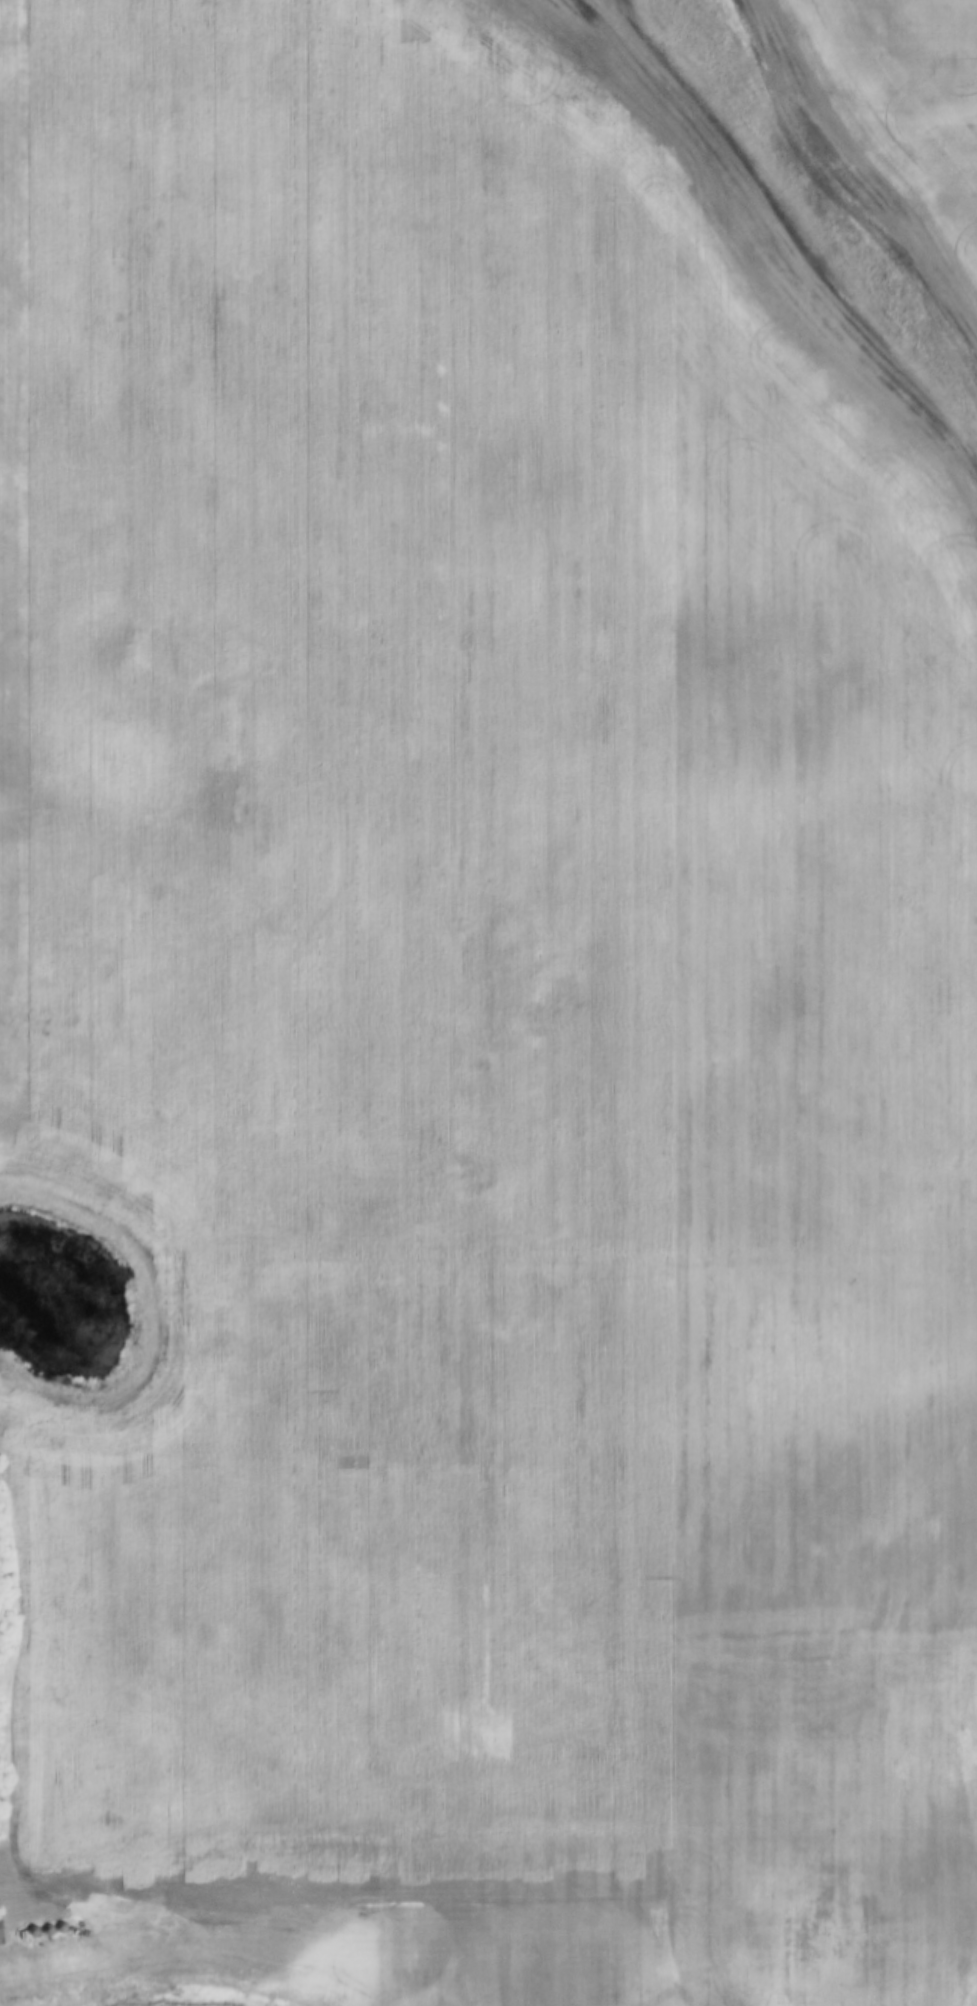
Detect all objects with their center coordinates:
building: (70, 1726)
building: (1, 1932)

